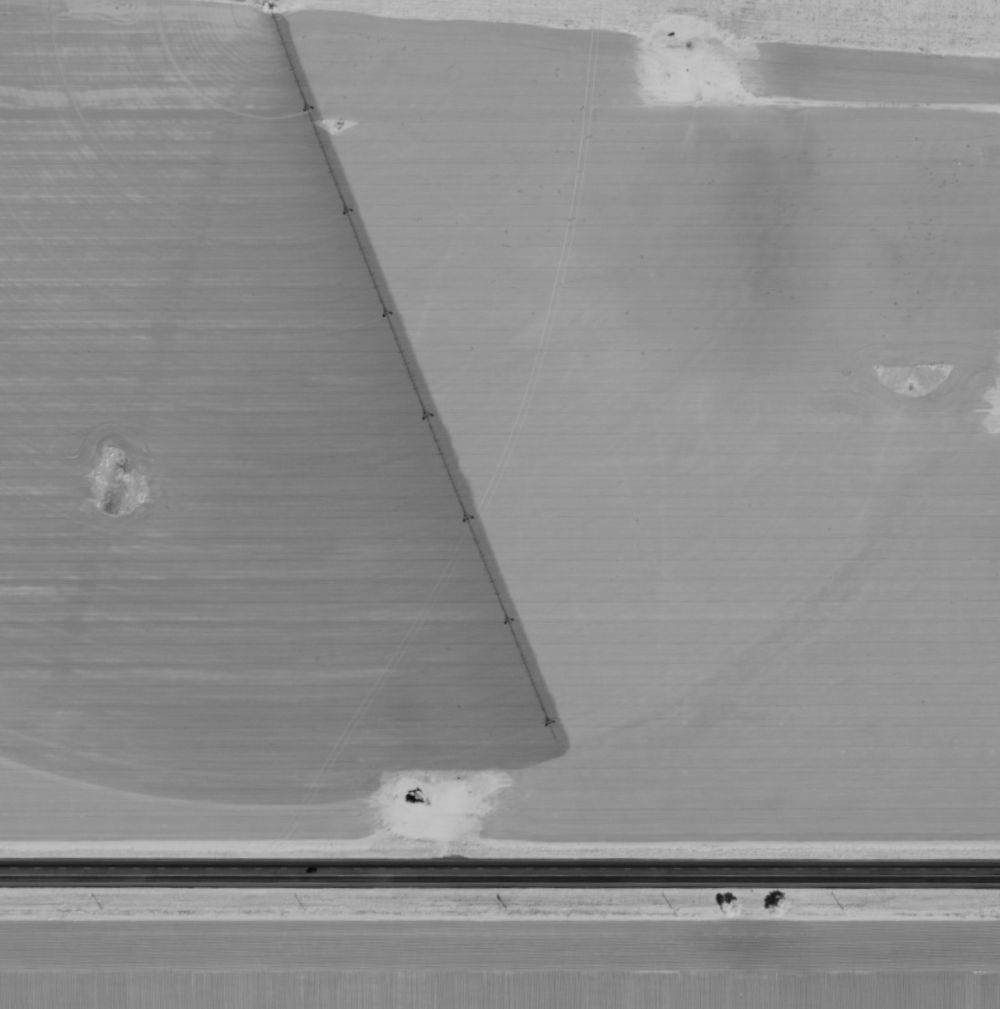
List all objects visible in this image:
petroleum well: (414, 797)
road: (500, 876)

